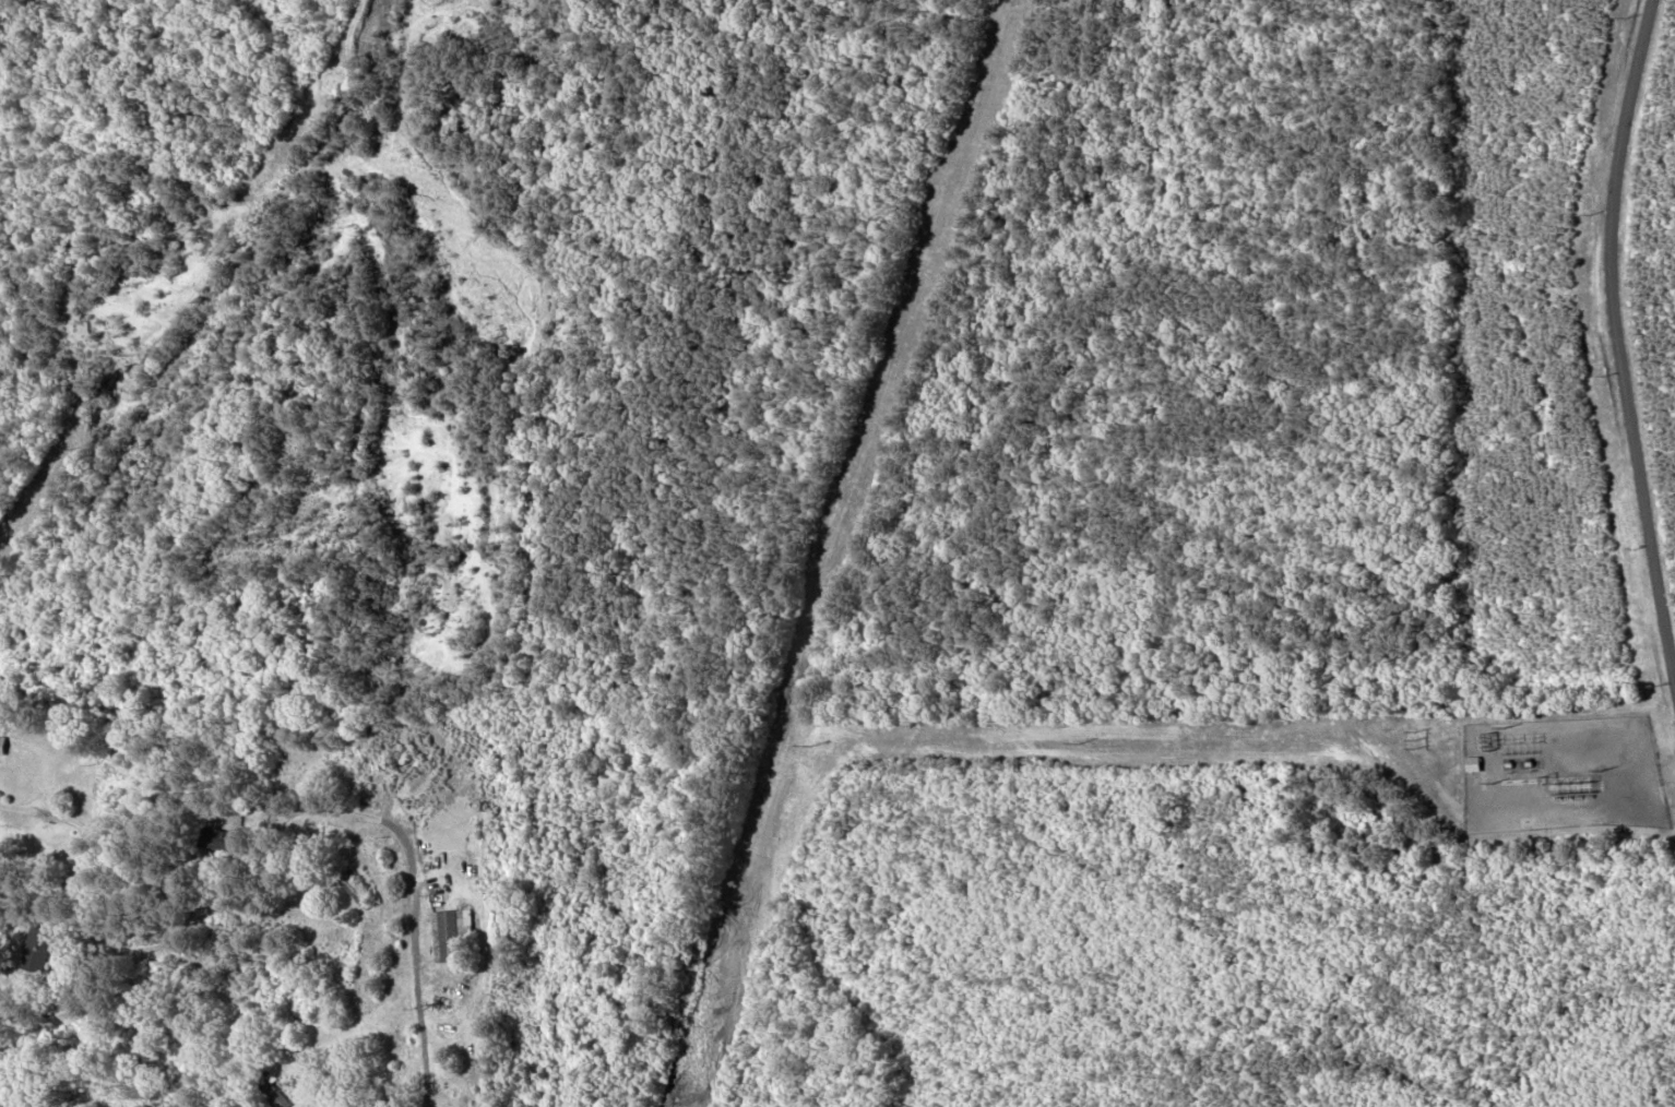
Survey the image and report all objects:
road: (340, 168)
road: (1616, 338)
building: (4, 743)
building: (221, 840)
building: (343, 880)
building: (454, 935)
building: (43, 949)
road: (305, 963)

